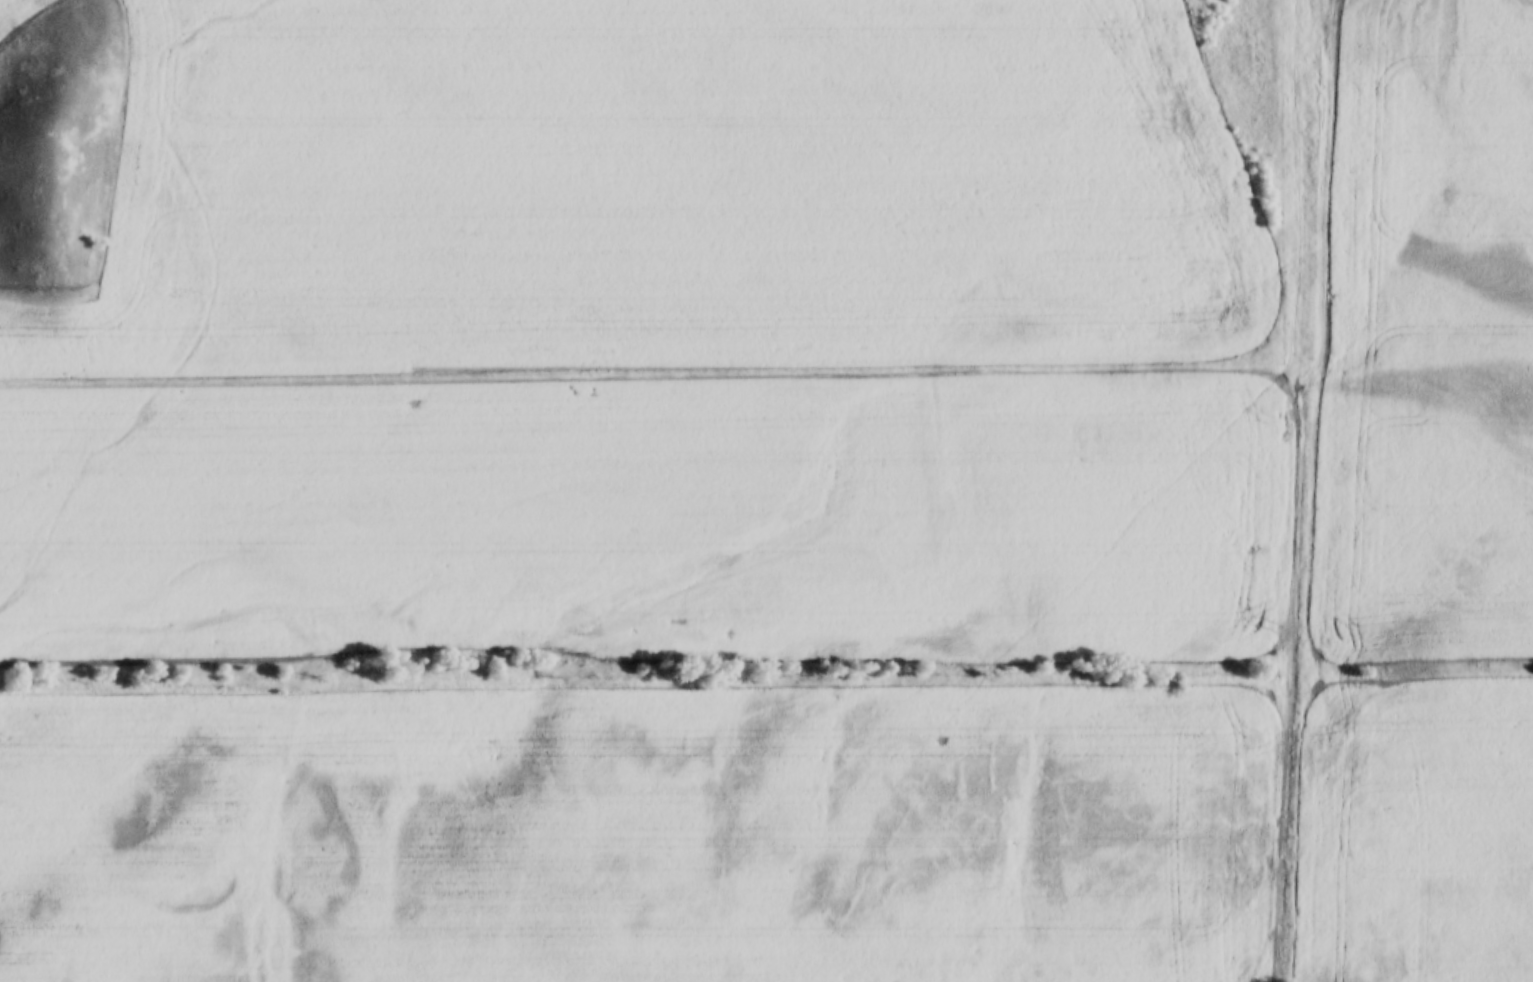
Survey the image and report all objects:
road: (1316, 490)

